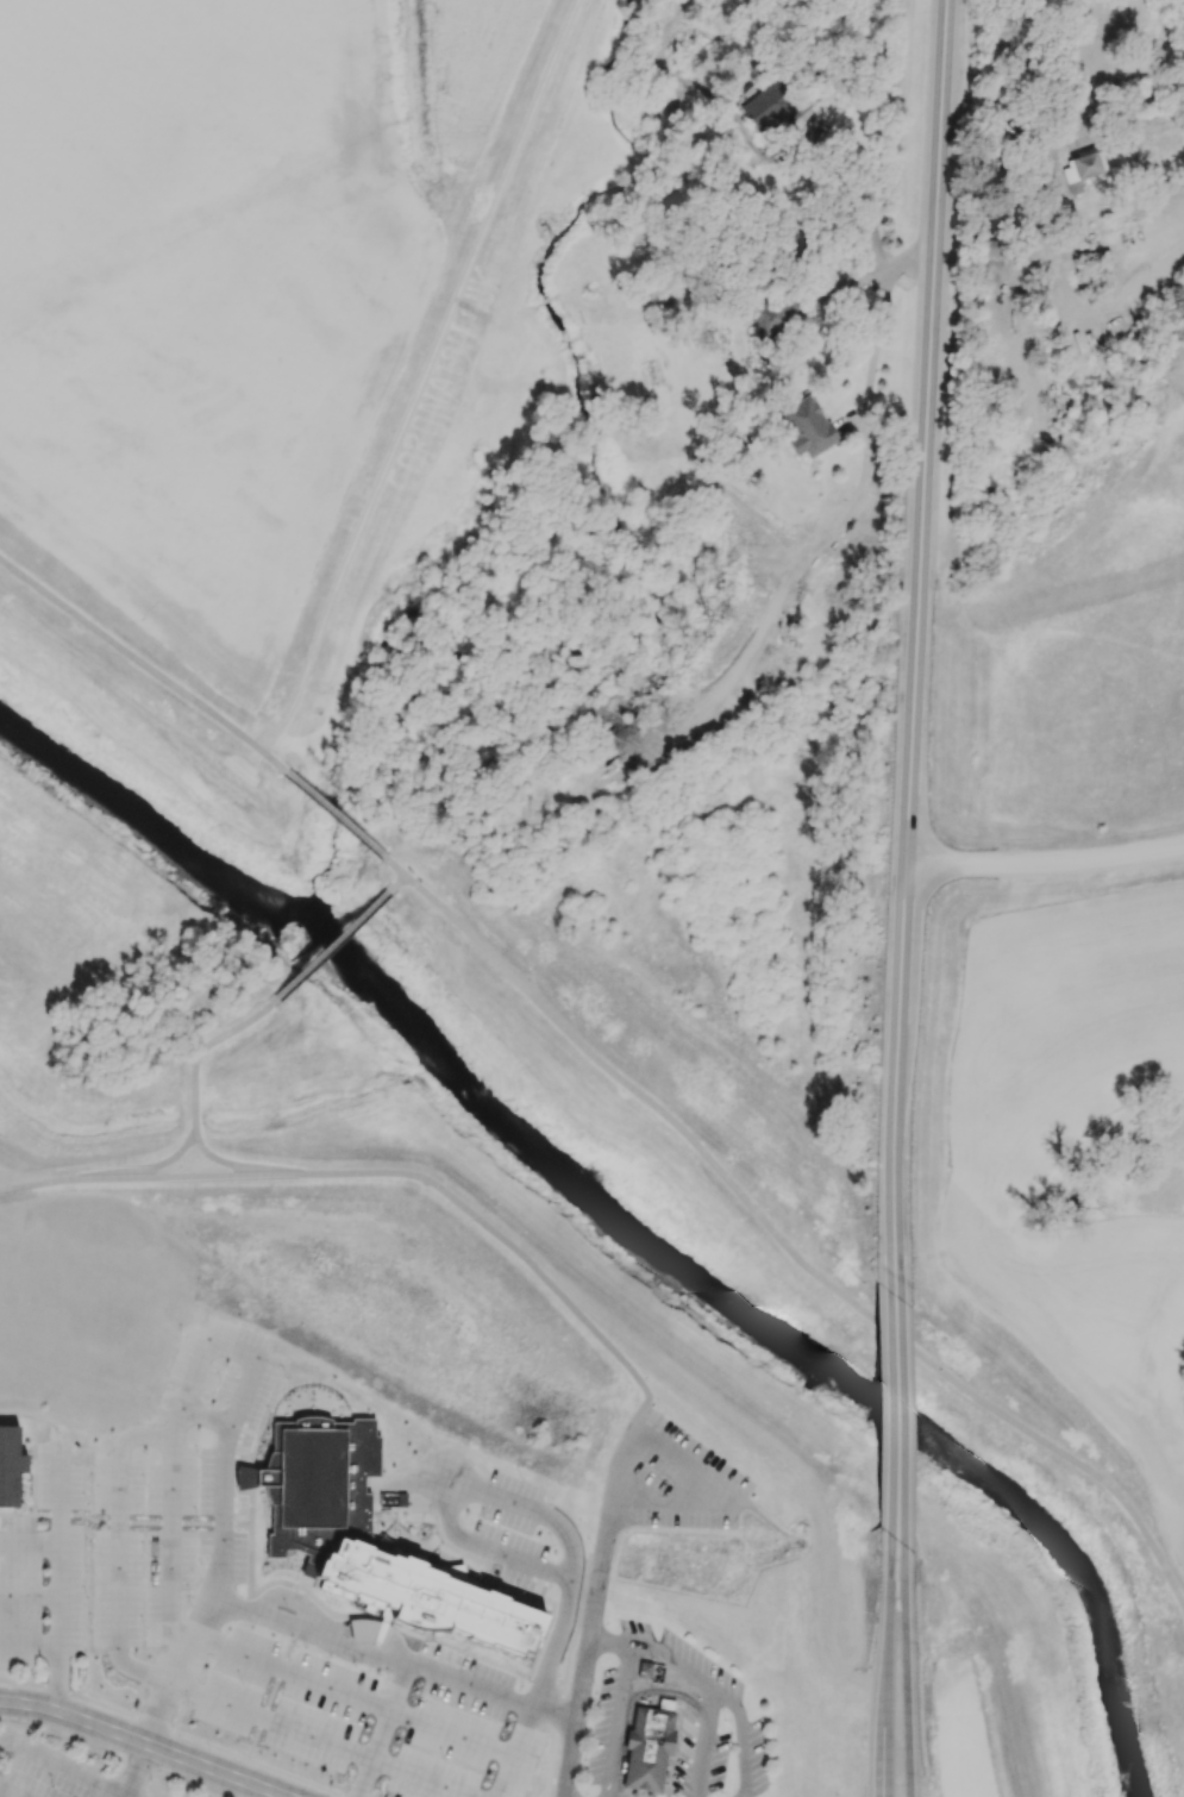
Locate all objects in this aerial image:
road: (1126, 100)
building: (770, 106)
road: (1127, 140)
building: (1078, 170)
building: (986, 248)
road: (883, 274)
road: (933, 278)
road: (873, 280)
road: (1008, 315)
building: (772, 320)
road: (425, 378)
building: (807, 426)
crop: (1092, 647)
road: (146, 662)
road: (704, 714)
road: (339, 815)
river: (154, 828)
road: (1044, 863)
road: (397, 866)
road: (395, 884)
road: (901, 921)
road: (330, 946)
road: (203, 1047)
crop: (1072, 1131)
road: (245, 1166)
road: (134, 1171)
road: (30, 1177)
road: (184, 1179)
road: (30, 1185)
road: (515, 1250)
road: (790, 1250)
river: (781, 1332)
road: (186, 1389)
road: (898, 1417)
building: (12, 1466)
road: (452, 1480)
parking lot: (683, 1480)
building: (317, 1484)
road: (706, 1490)
road: (58, 1498)
road: (524, 1502)
parking lot: (45, 1564)
road: (30, 1593)
road: (59, 1597)
building: (424, 1597)
road: (244, 1604)
parking lot: (263, 1605)
road: (892, 1605)
road: (594, 1608)
road: (568, 1640)
road: (610, 1641)
road: (30, 1645)
road: (997, 1652)
road: (908, 1672)
road: (431, 1685)
road: (634, 1696)
road: (723, 1697)
road: (710, 1704)
parking lot: (720, 1707)
road: (616, 1721)
road: (884, 1729)
road: (187, 1732)
road: (143, 1743)
building: (651, 1747)
road: (114, 1754)
road: (702, 1758)
road: (64, 1765)
road: (142, 1772)
parking lot: (59, 1774)
road: (7, 1792)

